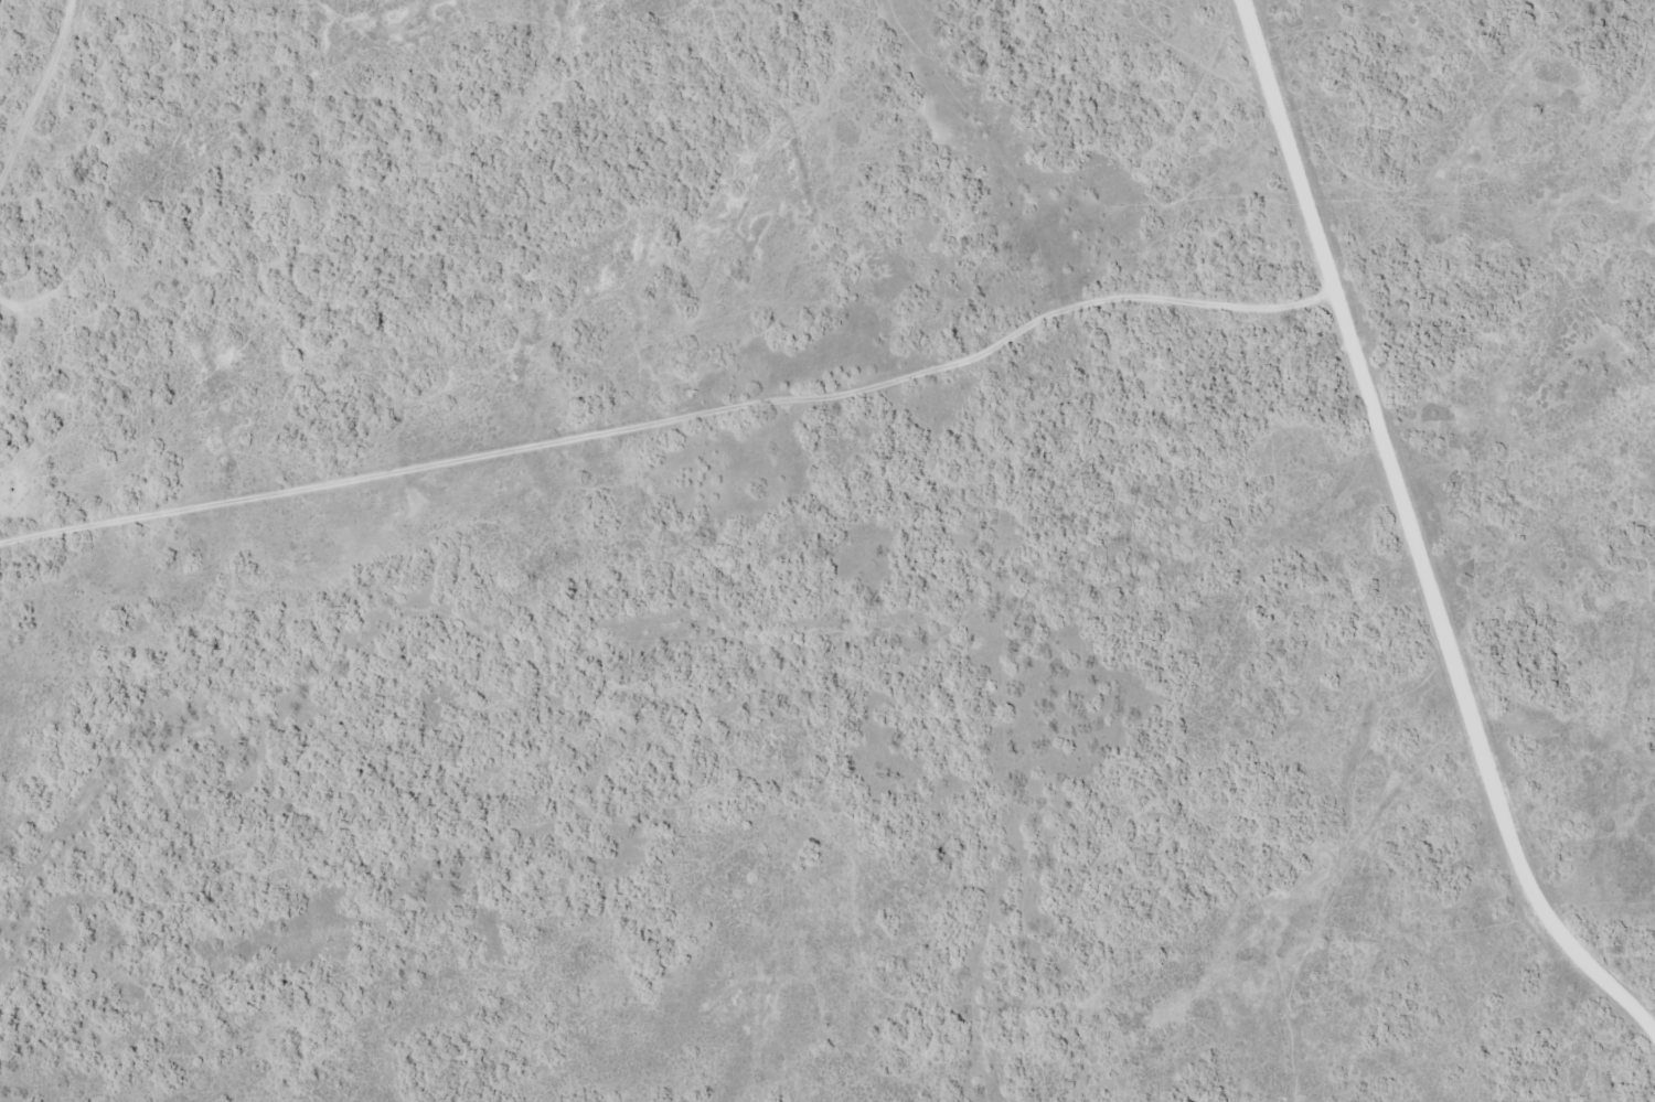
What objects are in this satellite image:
road: (1323, 127)
road: (1110, 320)

